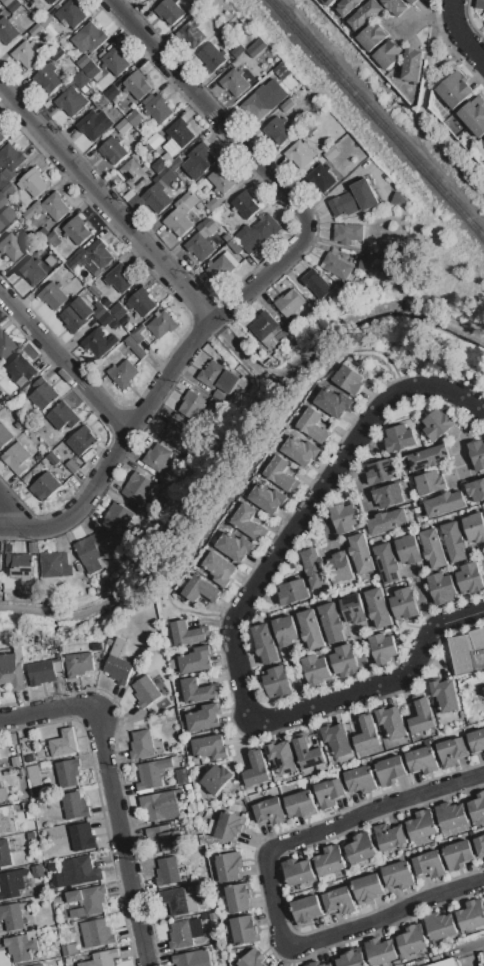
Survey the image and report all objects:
building: (149, 0)
building: (51, 1)
building: (6, 2)
building: (328, 2)
building: (413, 2)
building: (480, 4)
building: (13, 6)
building: (397, 6)
building: (346, 7)
building: (169, 11)
building: (70, 13)
building: (365, 15)
building: (46, 20)
building: (36, 30)
building: (7, 31)
building: (191, 34)
building: (372, 36)
road: (458, 36)
building: (89, 38)
building: (255, 47)
building: (25, 53)
building: (388, 54)
building: (211, 56)
building: (83, 60)
building: (115, 60)
building: (412, 64)
building: (91, 69)
building: (282, 70)
building: (48, 77)
building: (81, 79)
building: (233, 82)
building: (136, 84)
building: (454, 89)
building: (111, 92)
building: (264, 99)
building: (71, 101)
building: (287, 105)
building: (157, 107)
road: (210, 110)
building: (474, 116)
building: (134, 117)
railway: (377, 117)
building: (95, 124)
building: (123, 126)
building: (277, 130)
building: (180, 132)
building: (1, 137)
building: (155, 140)
building: (483, 141)
building: (114, 150)
building: (300, 153)
building: (330, 153)
building: (10, 160)
building: (198, 160)
building: (159, 165)
building: (176, 165)
building: (134, 173)
building: (165, 173)
building: (321, 178)
building: (222, 179)
building: (3, 180)
building: (32, 182)
building: (9, 189)
building: (157, 197)
building: (397, 198)
building: (354, 199)
building: (2, 200)
road: (107, 202)
building: (213, 204)
building: (245, 204)
building: (53, 206)
building: (31, 209)
building: (181, 215)
building: (209, 221)
building: (1, 226)
building: (77, 230)
building: (205, 232)
building: (347, 233)
building: (258, 234)
building: (199, 246)
building: (235, 246)
building: (10, 247)
building: (99, 253)
building: (76, 258)
building: (51, 259)
building: (365, 263)
building: (224, 265)
building: (336, 265)
building: (62, 270)
building: (32, 271)
road: (265, 275)
building: (119, 278)
building: (316, 282)
building: (95, 286)
building: (53, 295)
building: (141, 302)
building: (289, 303)
building: (118, 310)
building: (81, 313)
building: (105, 318)
building: (162, 323)
building: (265, 325)
building: (293, 327)
building: (287, 333)
road: (475, 334)
building: (137, 336)
building: (98, 341)
building: (5, 346)
building: (135, 346)
road: (246, 353)
road: (63, 361)
building: (19, 369)
building: (123, 373)
building: (218, 376)
building: (349, 379)
building: (42, 394)
building: (334, 402)
building: (192, 404)
building: (61, 415)
building: (438, 423)
building: (314, 425)
building: (177, 434)
road: (276, 434)
building: (4, 435)
building: (400, 437)
building: (82, 440)
road: (118, 446)
building: (301, 450)
road: (227, 453)
building: (477, 453)
building: (157, 457)
building: (428, 457)
building: (16, 458)
building: (52, 458)
building: (72, 466)
building: (65, 471)
building: (381, 471)
building: (280, 474)
building: (165, 478)
building: (431, 482)
building: (45, 486)
building: (138, 488)
building: (476, 489)
building: (388, 496)
building: (268, 498)
building: (445, 503)
building: (155, 513)
building: (344, 517)
road: (3, 518)
building: (119, 520)
building: (247, 521)
building: (388, 521)
building: (474, 526)
building: (455, 540)
building: (33, 547)
building: (236, 547)
building: (433, 547)
building: (408, 549)
building: (101, 552)
building: (362, 553)
building: (0, 560)
building: (387, 563)
building: (55, 564)
building: (21, 567)
building: (339, 567)
building: (221, 568)
building: (315, 568)
building: (470, 579)
building: (441, 587)
building: (201, 589)
building: (293, 591)
building: (404, 603)
building: (354, 608)
building: (379, 608)
road: (238, 619)
building: (332, 622)
building: (311, 629)
building: (286, 630)
building: (187, 633)
building: (266, 644)
building: (97, 646)
building: (383, 648)
building: (465, 650)
building: (78, 658)
building: (196, 660)
building: (345, 660)
building: (118, 664)
building: (14, 669)
building: (316, 669)
building: (41, 671)
building: (277, 681)
building: (145, 691)
building: (197, 691)
building: (445, 694)
road: (51, 708)
building: (421, 715)
building: (205, 718)
building: (392, 721)
building: (367, 732)
building: (336, 739)
building: (476, 740)
building: (63, 745)
building: (142, 745)
building: (210, 747)
building: (452, 751)
building: (308, 753)
building: (281, 756)
building: (423, 760)
building: (257, 769)
building: (390, 770)
building: (152, 773)
building: (67, 774)
building: (33, 775)
building: (183, 776)
building: (216, 779)
building: (361, 779)
building: (330, 792)
building: (3, 793)
building: (162, 804)
building: (301, 804)
building: (72, 805)
building: (477, 807)
building: (269, 810)
building: (451, 815)
building: (7, 819)
building: (422, 825)
building: (227, 826)
building: (31, 835)
building: (81, 836)
building: (389, 836)
road: (120, 837)
building: (173, 838)
building: (480, 846)
building: (360, 848)
building: (5, 853)
building: (458, 854)
building: (331, 860)
building: (429, 864)
building: (230, 865)
building: (38, 870)
building: (80, 870)
building: (167, 870)
building: (298, 871)
building: (399, 875)
building: (12, 883)
road: (272, 888)
building: (367, 888)
building: (239, 897)
building: (90, 898)
building: (57, 899)
building: (178, 900)
building: (340, 901)
building: (23, 905)
building: (307, 909)
building: (76, 912)
building: (472, 914)
building: (12, 916)
building: (440, 925)
building: (244, 929)
building: (101, 932)
building: (183, 934)
building: (413, 940)
road: (473, 942)
building: (20, 947)
building: (69, 949)
building: (381, 951)
building: (102, 958)
building: (192, 958)
building: (253, 958)
building: (352, 959)
building: (318, 963)
building: (446, 963)
building: (38, 965)

